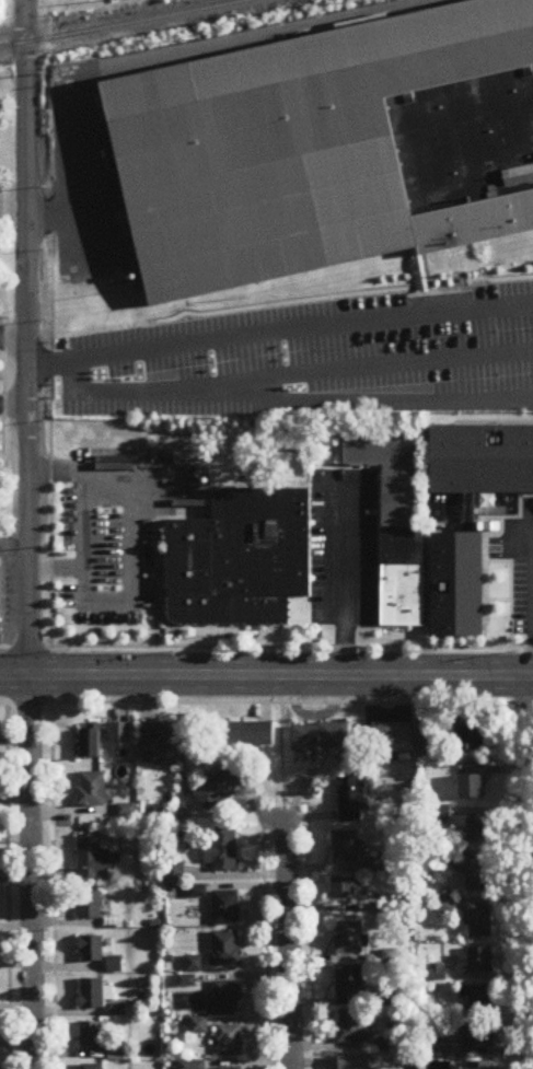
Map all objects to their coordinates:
railway: (118, 24)
road: (154, 60)
building: (329, 152)
road: (279, 332)
road: (13, 337)
road: (26, 338)
parking lot: (321, 348)
road: (292, 375)
road: (13, 404)
building: (479, 453)
road: (49, 508)
road: (80, 518)
building: (470, 519)
building: (396, 521)
road: (13, 542)
road: (134, 547)
building: (241, 560)
road: (344, 585)
building: (457, 586)
building: (0, 591)
road: (532, 594)
road: (266, 649)
road: (266, 677)
road: (266, 705)
building: (119, 733)
building: (250, 734)
building: (321, 737)
building: (468, 737)
building: (393, 739)
building: (89, 743)
building: (162, 746)
building: (427, 747)
building: (472, 782)
building: (93, 789)
building: (218, 790)
building: (352, 799)
building: (478, 828)
building: (348, 848)
building: (222, 850)
building: (93, 859)
road: (30, 873)
building: (478, 874)
road: (7, 886)
road: (51, 886)
building: (347, 888)
building: (90, 905)
building: (444, 905)
building: (225, 908)
building: (478, 921)
building: (349, 939)
road: (289, 944)
building: (91, 949)
building: (227, 949)
building: (476, 962)
building: (114, 966)
building: (349, 983)
building: (92, 994)
building: (225, 998)
building: (482, 998)
building: (352, 1029)
building: (92, 1036)
building: (480, 1037)
building: (230, 1041)
building: (355, 1062)
building: (480, 1066)
building: (92, 1067)
building: (229, 1068)

